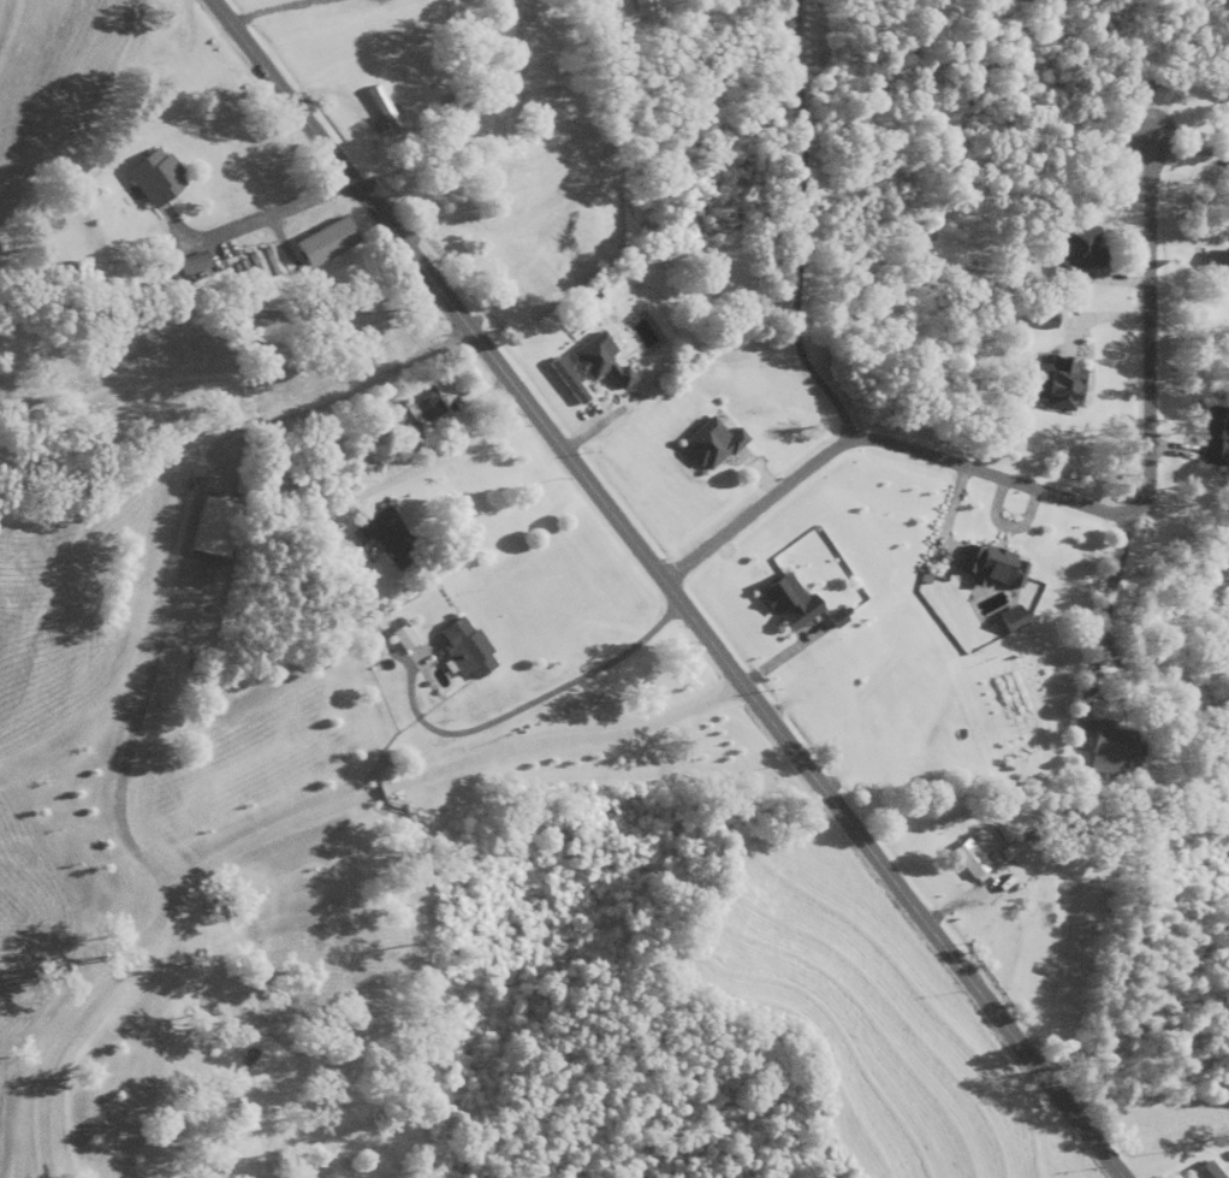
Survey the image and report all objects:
building: (386, 112)
building: (1227, 120)
building: (159, 179)
road: (259, 224)
building: (456, 224)
road: (788, 233)
building: (1082, 251)
building: (332, 267)
building: (1219, 271)
building: (536, 288)
road: (220, 320)
building: (1046, 321)
building: (595, 357)
building: (624, 379)
building: (1062, 384)
building: (427, 406)
building: (1217, 438)
building: (713, 445)
road: (297, 452)
road: (1061, 499)
building: (388, 539)
building: (993, 566)
building: (137, 588)
road: (666, 588)
building: (791, 604)
building: (1014, 620)
building: (406, 639)
building: (467, 650)
building: (101, 711)
building: (1116, 751)
road: (296, 825)
building: (974, 862)
building: (1209, 1172)

